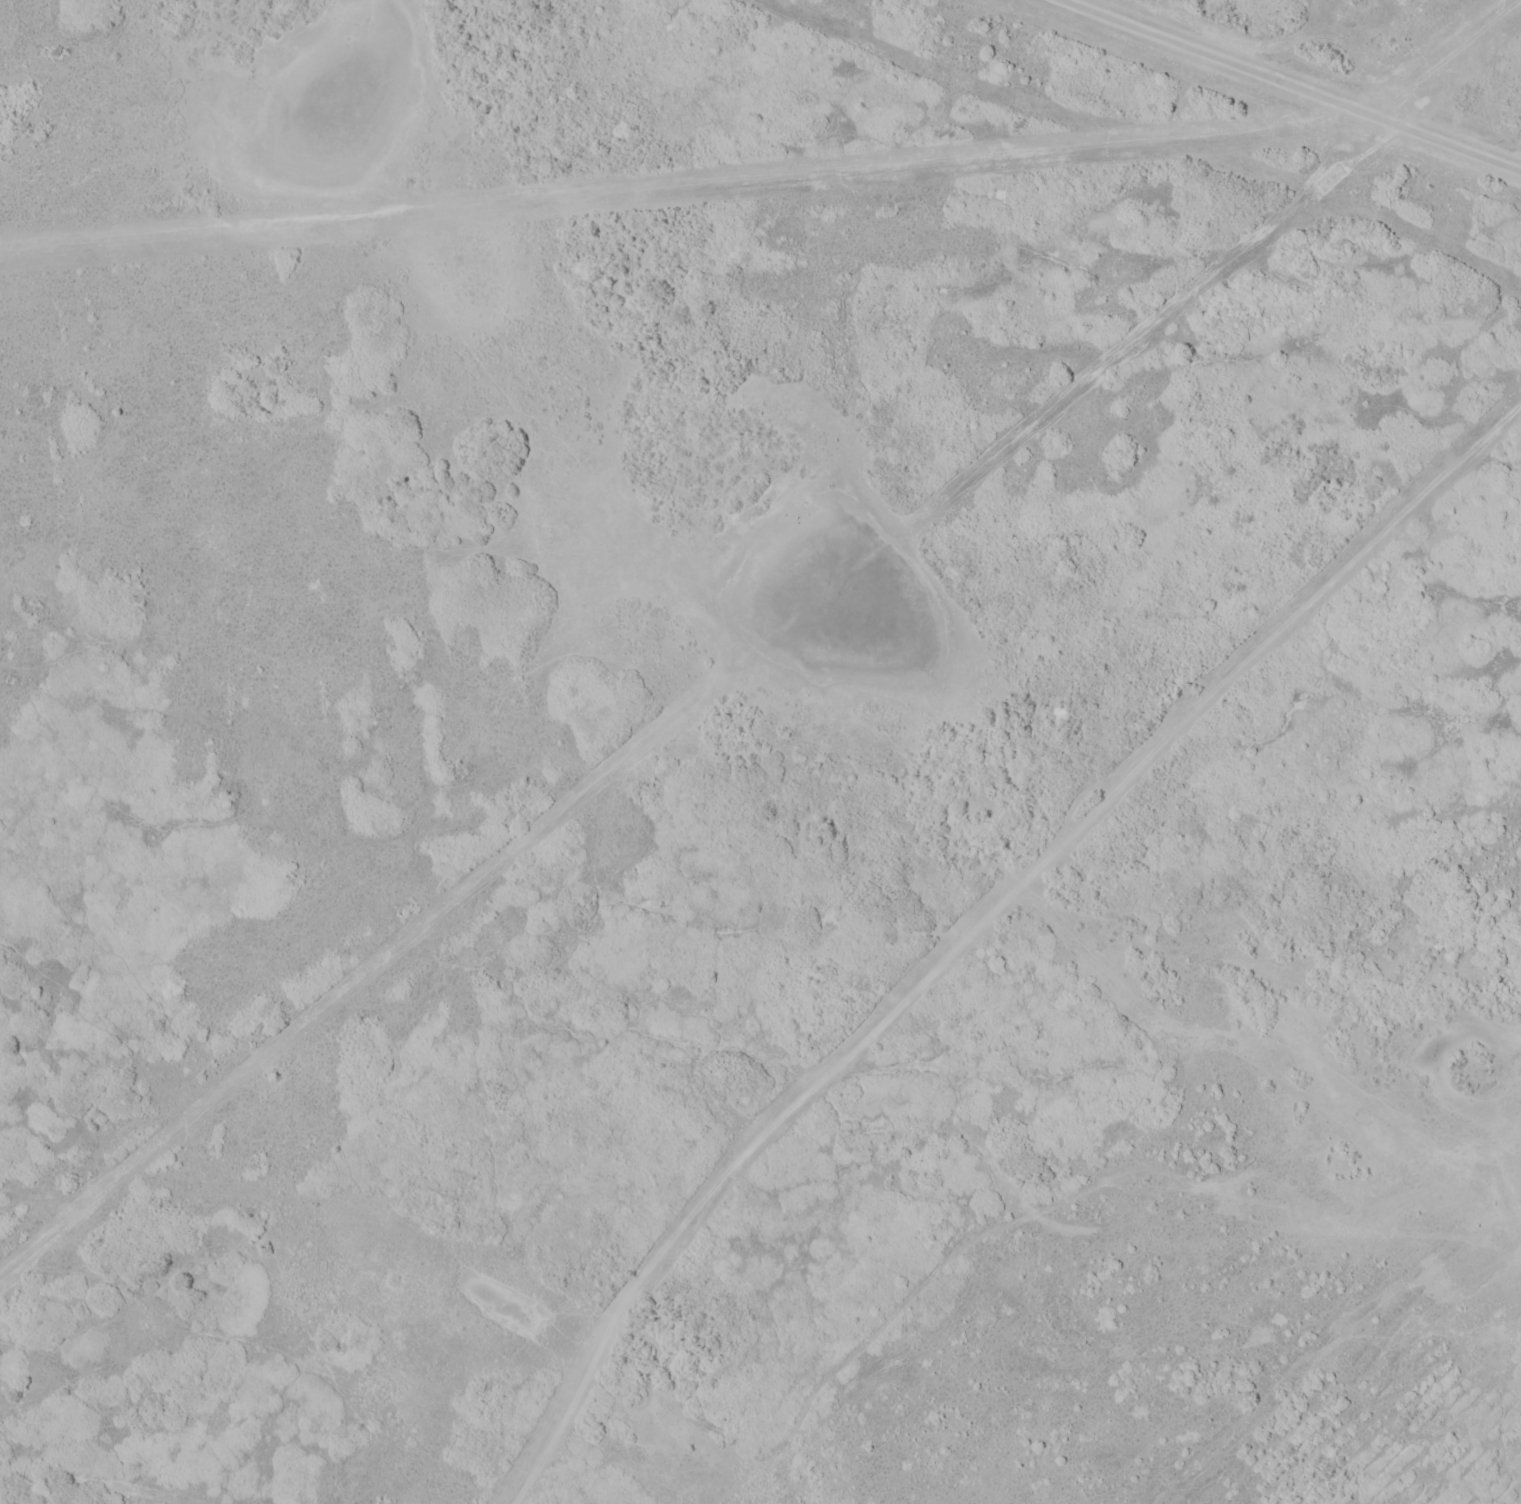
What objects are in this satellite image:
road: (1307, 78)
road: (973, 912)

